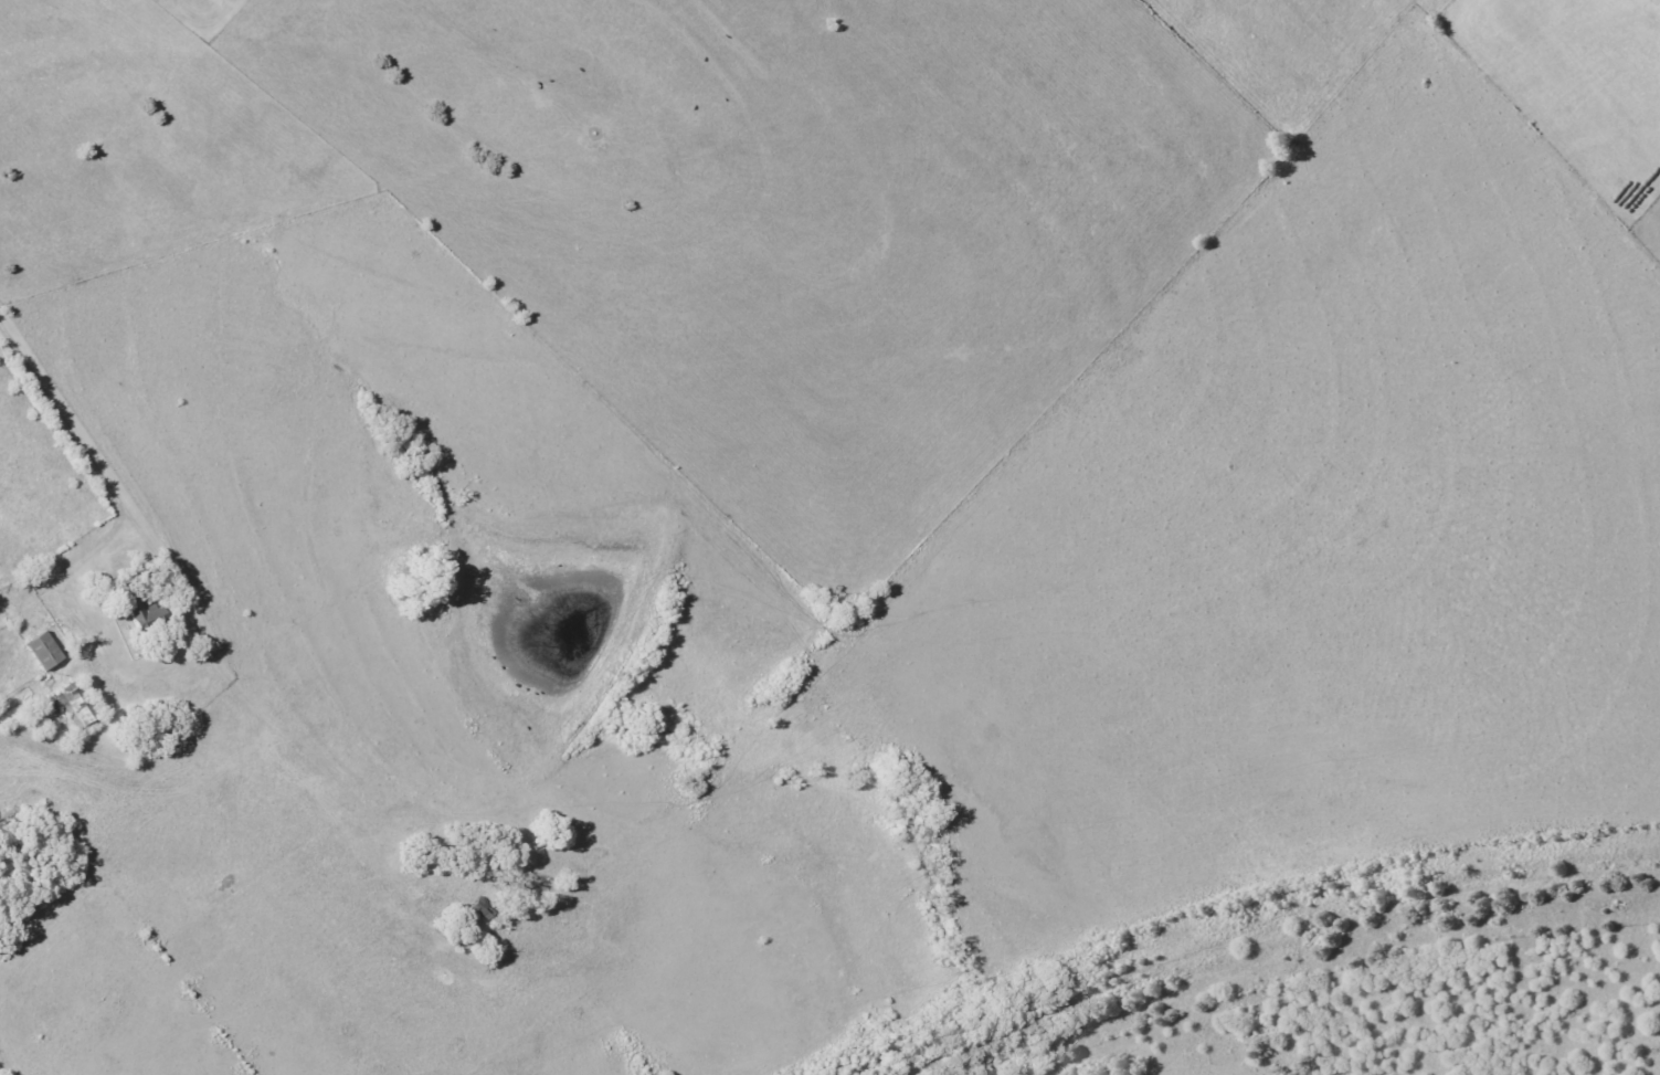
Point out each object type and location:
building: (144, 612)
building: (45, 651)
building: (75, 706)

